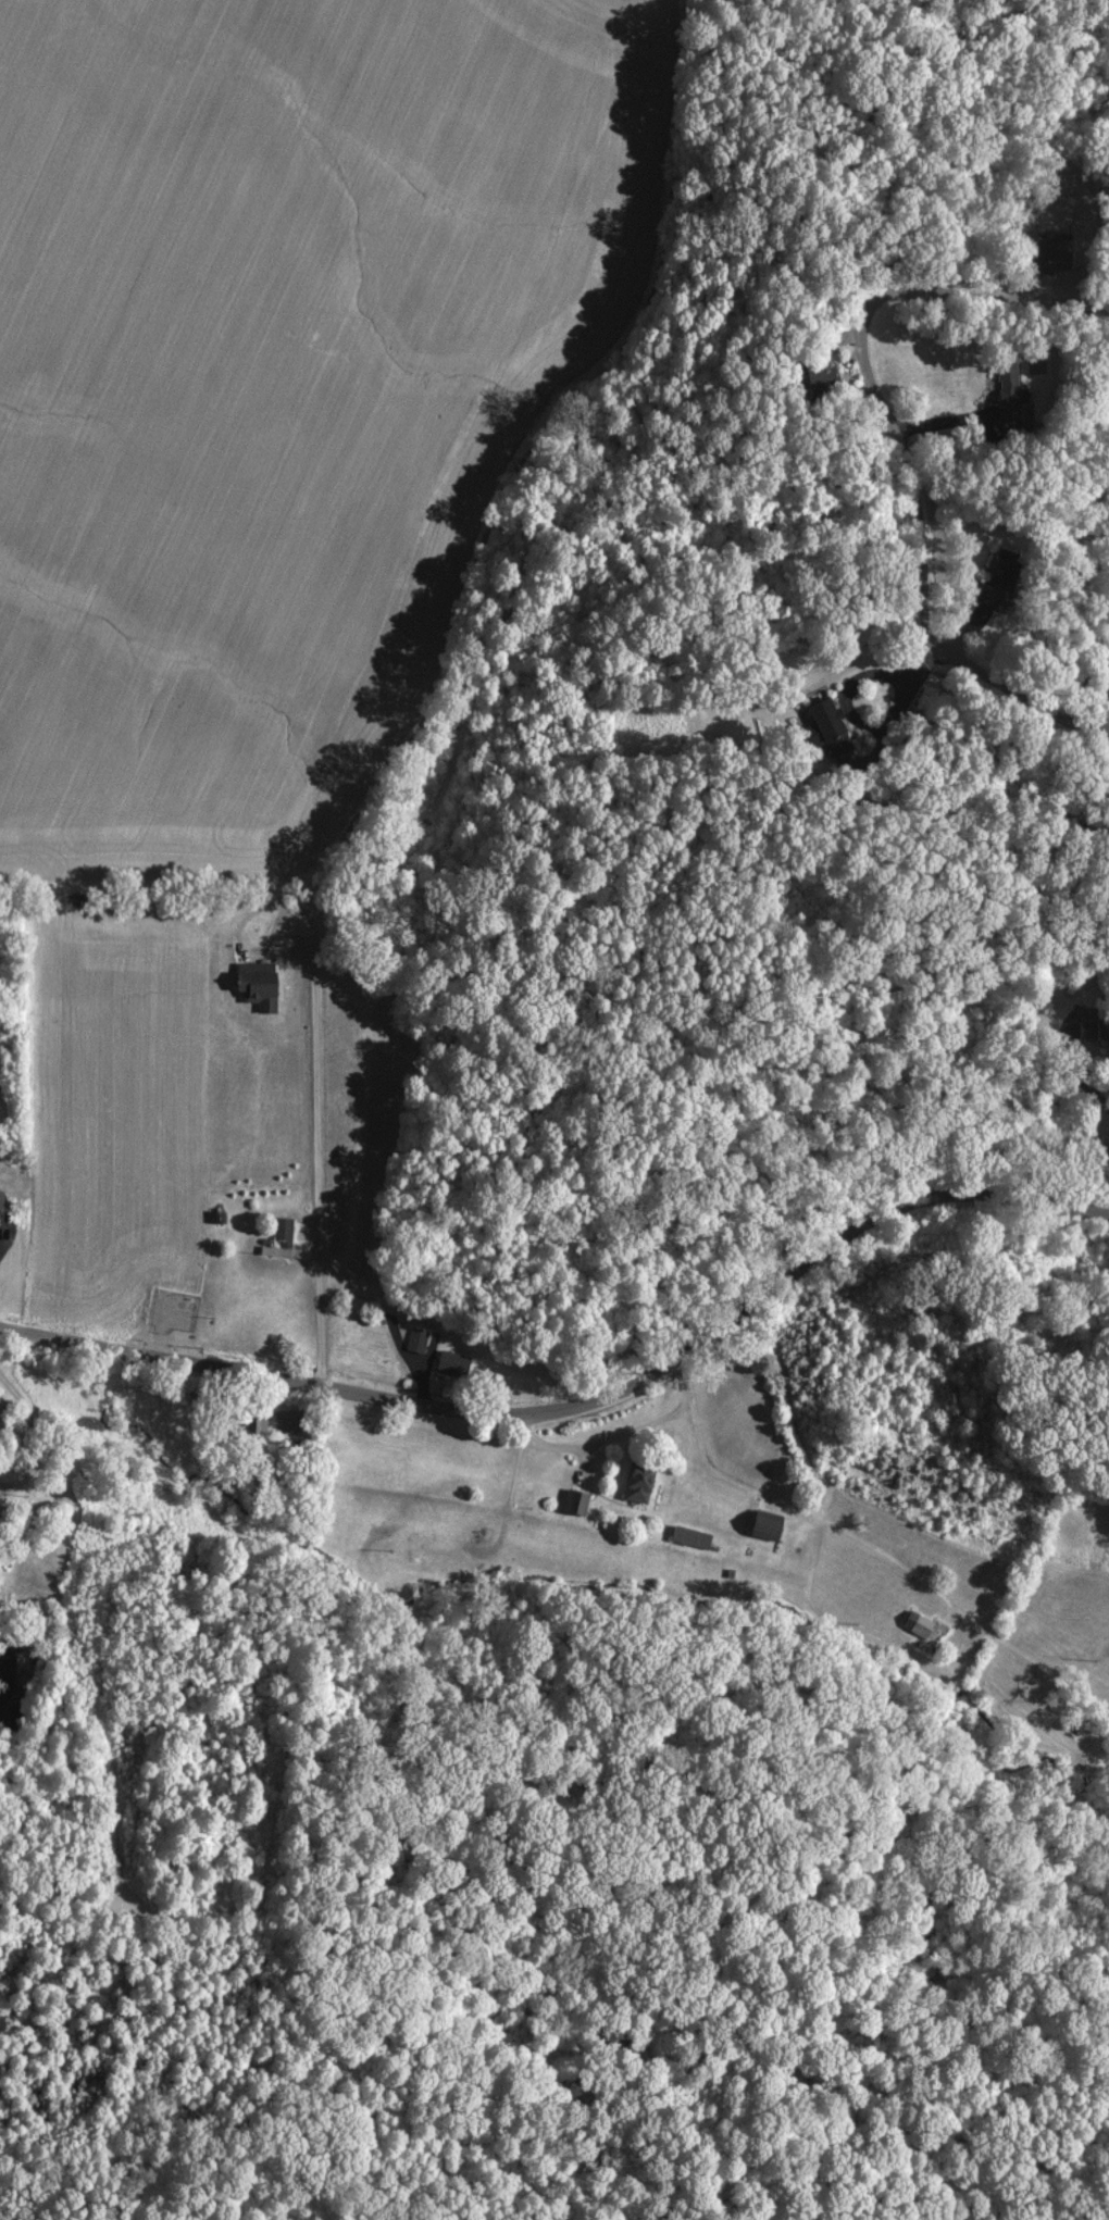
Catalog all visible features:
building: (1054, 251)
building: (821, 375)
building: (1010, 392)
road: (896, 446)
building: (1000, 578)
road: (443, 678)
building: (827, 727)
building: (258, 984)
building: (1094, 1031)
road: (1079, 1078)
building: (9, 1197)
building: (282, 1238)
building: (416, 1338)
building: (452, 1362)
road: (584, 1404)
building: (257, 1420)
road: (33, 1436)
building: (638, 1482)
building: (577, 1500)
building: (767, 1524)
building: (690, 1536)
building: (918, 1623)

